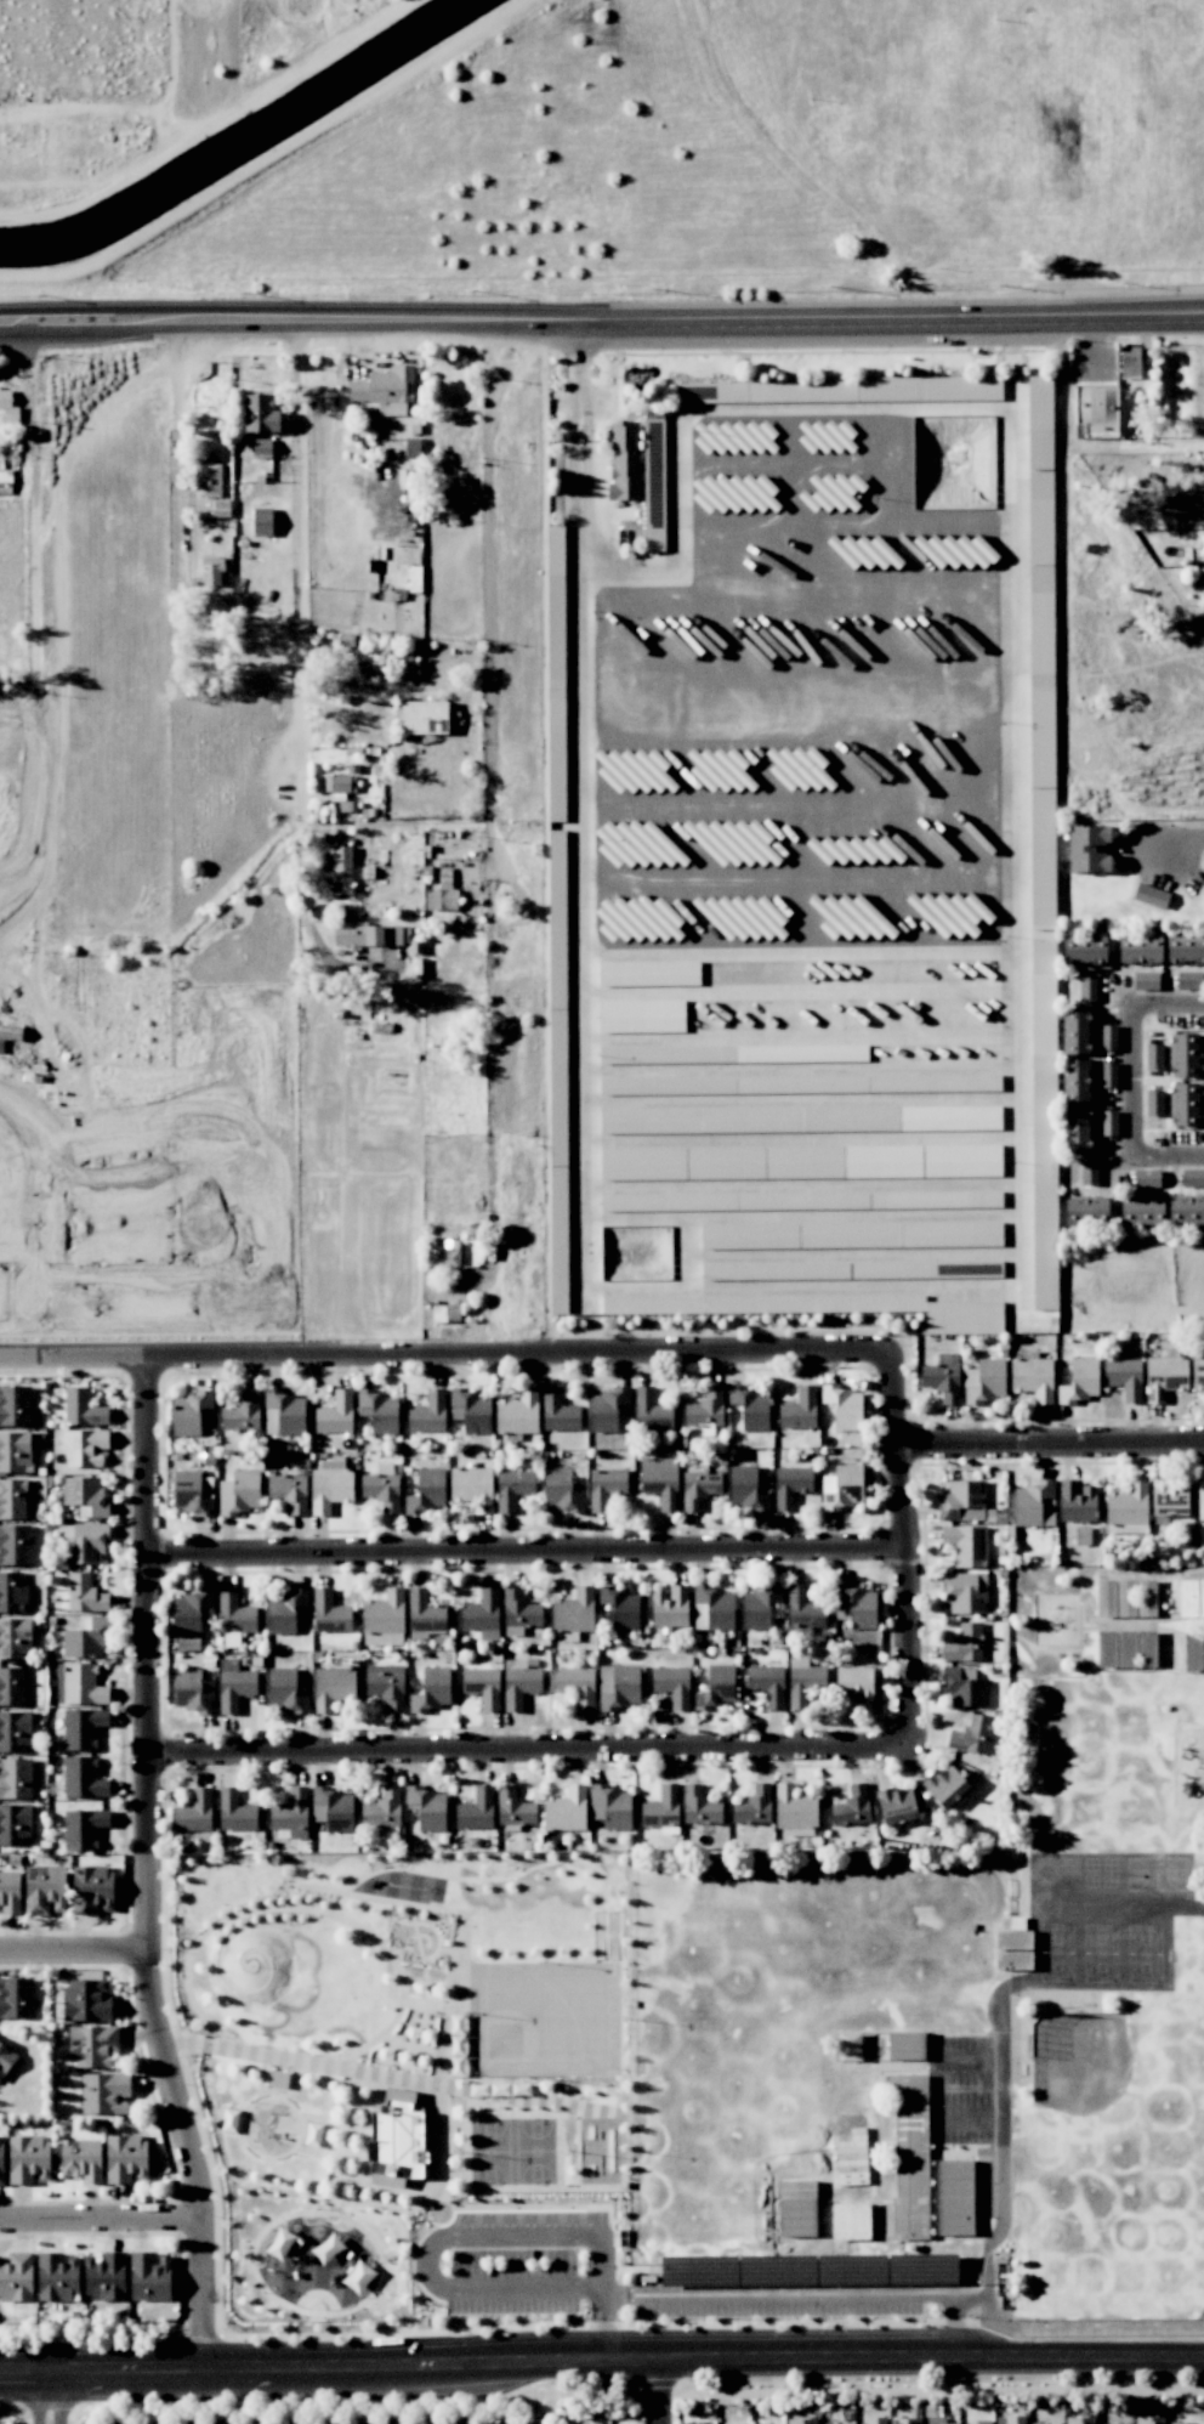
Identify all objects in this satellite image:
road: (601, 318)
building: (1129, 362)
building: (928, 387)
building: (387, 389)
building: (825, 390)
building: (723, 392)
building: (7, 407)
building: (1096, 407)
building: (260, 414)
building: (1039, 421)
road: (172, 434)
building: (830, 435)
building: (732, 436)
building: (261, 447)
building: (624, 463)
building: (209, 477)
building: (842, 492)
building: (734, 493)
road: (299, 498)
building: (653, 498)
building: (262, 521)
building: (1040, 526)
building: (958, 551)
building: (211, 571)
road: (489, 573)
building: (364, 659)
road: (802, 696)
building: (424, 717)
building: (726, 768)
building: (799, 768)
building: (634, 770)
building: (339, 783)
road: (302, 819)
building: (734, 834)
building: (636, 844)
road: (1183, 846)
building: (854, 849)
building: (1087, 849)
building: (341, 863)
building: (442, 893)
building: (1151, 896)
building: (712, 907)
building: (952, 913)
building: (638, 919)
building: (368, 934)
building: (1140, 948)
building: (1185, 948)
building: (1084, 950)
building: (649, 973)
building: (1189, 980)
building: (1145, 981)
building: (1087, 989)
building: (641, 1016)
building: (1077, 1032)
building: (1107, 1037)
building: (1183, 1054)
building: (1154, 1055)
building: (1107, 1075)
building: (1077, 1080)
road: (1132, 1081)
building: (1154, 1103)
building: (1185, 1104)
building: (922, 1117)
building: (691, 1120)
building: (1108, 1123)
building: (1077, 1128)
building: (961, 1160)
building: (884, 1161)
building: (643, 1162)
building: (732, 1162)
building: (1089, 1172)
building: (1146, 1178)
building: (1192, 1178)
building: (1085, 1211)
building: (1141, 1211)
building: (1186, 1211)
building: (905, 1234)
building: (443, 1255)
building: (978, 1268)
building: (964, 1316)
road: (445, 1364)
building: (1198, 1372)
building: (942, 1376)
building: (1032, 1376)
building: (1164, 1377)
building: (1124, 1378)
building: (984, 1381)
building: (1080, 1381)
building: (15, 1406)
building: (844, 1406)
building: (83, 1408)
building: (751, 1408)
building: (470, 1409)
building: (606, 1409)
building: (649, 1409)
building: (705, 1409)
building: (799, 1409)
building: (379, 1411)
building: (558, 1411)
building: (188, 1412)
building: (242, 1412)
building: (427, 1412)
building: (518, 1412)
building: (284, 1414)
building: (335, 1414)
road: (1049, 1445)
building: (85, 1446)
building: (15, 1451)
building: (660, 1480)
building: (791, 1485)
building: (330, 1486)
building: (606, 1486)
building: (698, 1486)
building: (842, 1486)
building: (382, 1488)
building: (472, 1488)
building: (512, 1488)
building: (563, 1488)
building: (748, 1489)
building: (427, 1491)
building: (193, 1493)
building: (239, 1493)
building: (85, 1496)
building: (1169, 1497)
building: (12, 1499)
building: (962, 1501)
building: (1077, 1501)
building: (1200, 1503)
building: (1033, 1505)
building: (1128, 1505)
building: (84, 1544)
building: (15, 1545)
building: (966, 1545)
road: (521, 1554)
road: (898, 1558)
building: (12, 1592)
building: (965, 1592)
building: (85, 1593)
building: (1136, 1597)
building: (1191, 1597)
building: (1106, 1598)
building: (859, 1605)
building: (670, 1607)
building: (759, 1607)
building: (623, 1608)
building: (712, 1608)
building: (803, 1608)
building: (519, 1609)
building: (285, 1610)
building: (189, 1612)
building: (330, 1613)
building: (425, 1613)
building: (483, 1614)
building: (570, 1614)
building: (234, 1615)
building: (382, 1615)
building: (15, 1638)
building: (85, 1638)
building: (964, 1643)
building: (1146, 1648)
building: (1106, 1649)
building: (1193, 1652)
building: (803, 1681)
building: (519, 1683)
building: (83, 1684)
building: (386, 1684)
building: (767, 1684)
building: (12, 1686)
building: (234, 1686)
building: (573, 1686)
building: (619, 1686)
building: (672, 1686)
building: (483, 1687)
building: (717, 1687)
building: (853, 1687)
building: (964, 1687)
building: (333, 1688)
building: (433, 1689)
building: (193, 1690)
building: (285, 1692)
building: (83, 1728)
building: (15, 1731)
road: (524, 1756)
building: (16, 1778)
building: (83, 1778)
building: (945, 1785)
building: (663, 1803)
building: (896, 1803)
building: (610, 1806)
building: (752, 1806)
building: (852, 1806)
building: (427, 1807)
building: (515, 1807)
building: (700, 1807)
building: (794, 1807)
building: (333, 1808)
building: (382, 1809)
building: (476, 1809)
building: (566, 1809)
building: (234, 1811)
building: (194, 1812)
building: (290, 1813)
building: (15, 1824)
building: (83, 1829)
road: (144, 1867)
building: (45, 1890)
building: (92, 1890)
building: (10, 1892)
building: (1013, 1939)
road: (72, 1952)
building: (1009, 1960)
building: (16, 1998)
building: (86, 2000)
building: (92, 2045)
building: (908, 2045)
building: (851, 2046)
building: (5, 2057)
building: (277, 2079)
building: (907, 2089)
building: (104, 2092)
building: (399, 2095)
building: (229, 2120)
building: (312, 2134)
building: (911, 2150)
building: (125, 2158)
building: (1, 2159)
building: (28, 2159)
building: (81, 2159)
road: (1004, 2165)
building: (956, 2197)
building: (851, 2219)
road: (100, 2221)
building: (280, 2244)
building: (810, 2252)
building: (57, 2276)
building: (104, 2276)
building: (16, 2277)
building: (150, 2277)
building: (358, 2277)
road: (577, 2290)
road: (953, 2323)
road: (1084, 2323)
road: (602, 2324)
road: (601, 2360)
road: (659, 2391)
road: (39, 2395)
road: (59, 2395)
building: (1149, 2419)
building: (802, 2420)
building: (875, 2420)
building: (905, 2420)
building: (938, 2420)
building: (1010, 2420)
building: (1079, 2420)
building: (982, 2422)
building: (1044, 2423)
building: (1177, 2423)

